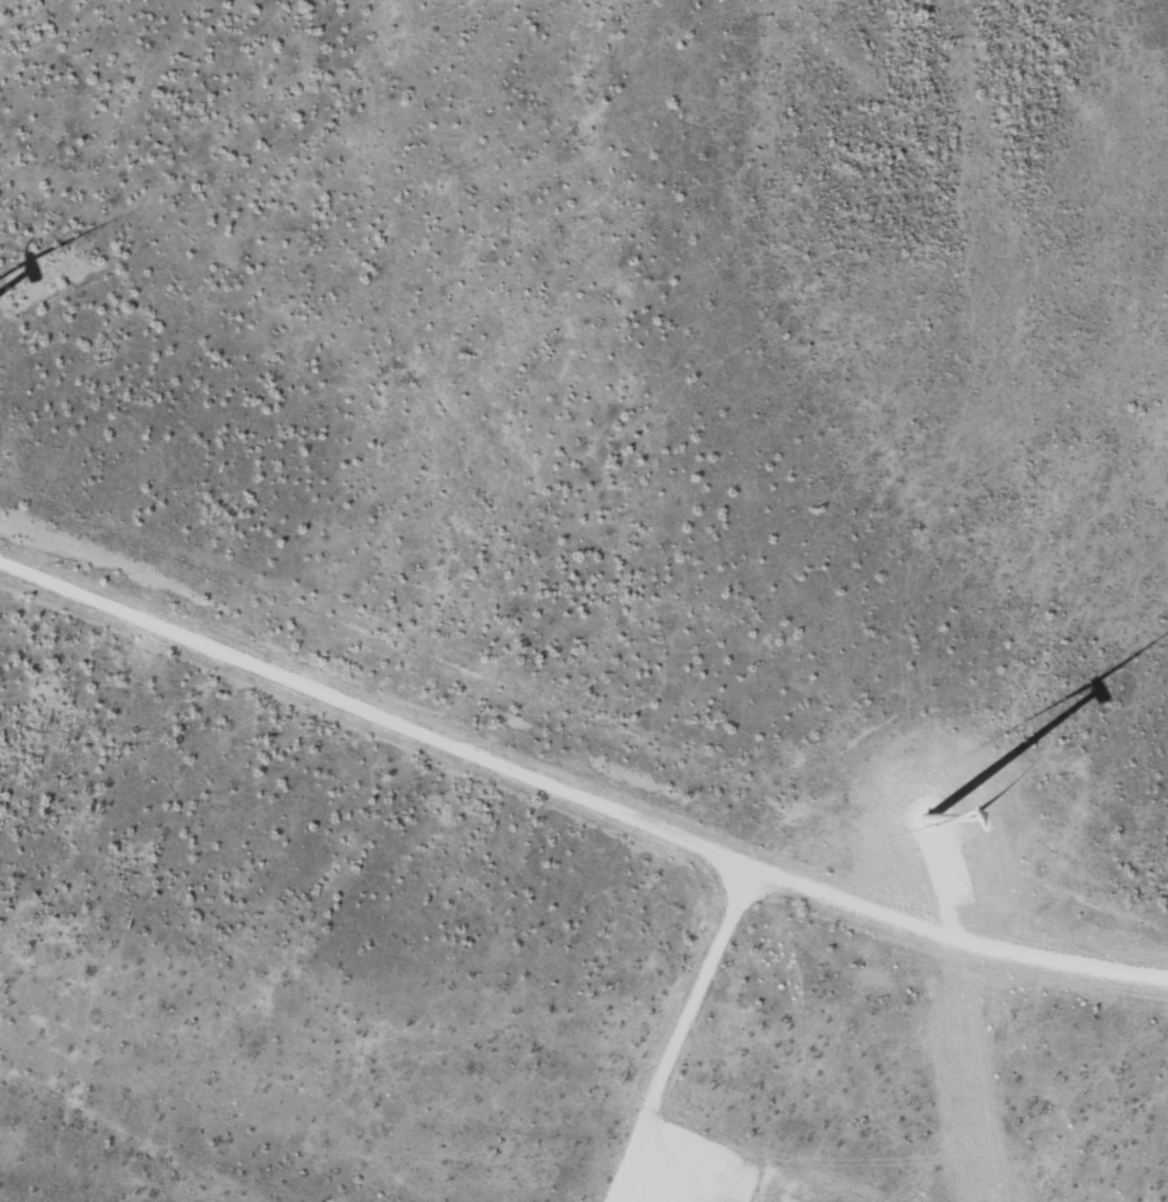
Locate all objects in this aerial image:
wind turbine: (928, 818)

